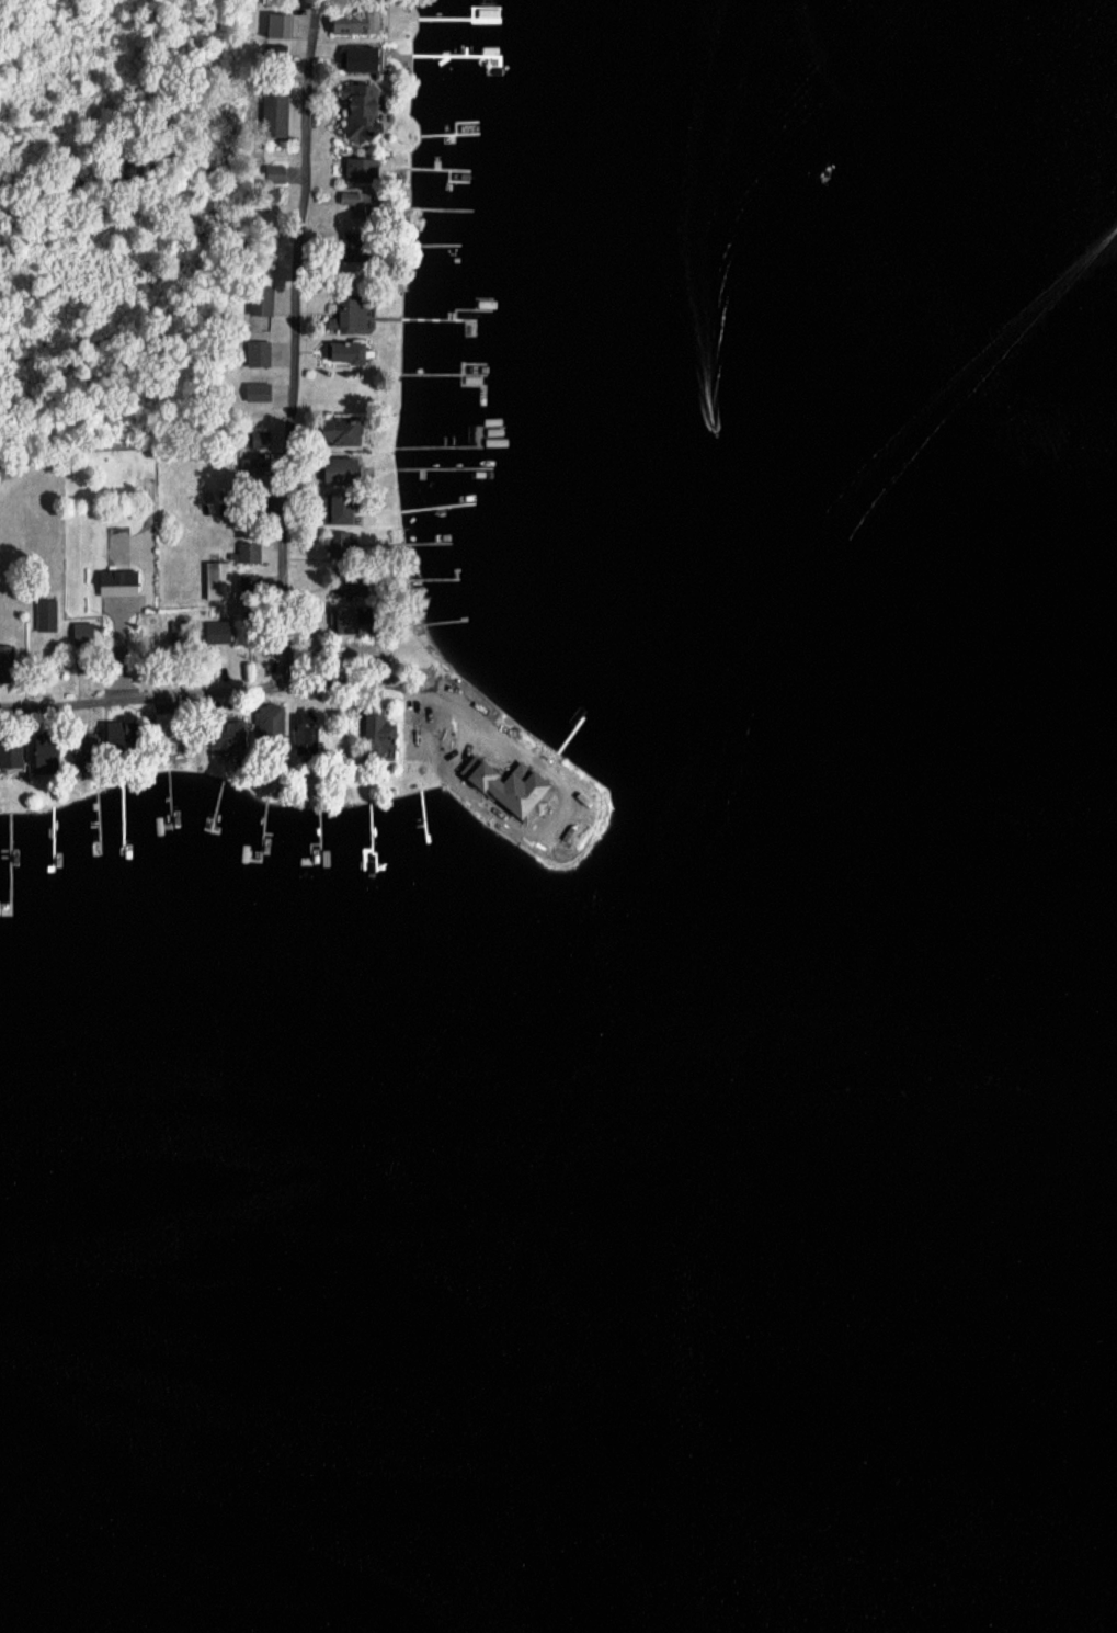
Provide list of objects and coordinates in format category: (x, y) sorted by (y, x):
building: (353, 19)
building: (275, 23)
building: (355, 57)
building: (356, 109)
building: (273, 111)
building: (356, 168)
building: (355, 202)
building: (259, 298)
building: (346, 315)
building: (343, 350)
building: (258, 351)
building: (255, 389)
building: (340, 430)
building: (337, 467)
road: (276, 485)
building: (334, 507)
building: (342, 540)
building: (216, 578)
building: (250, 580)
building: (116, 581)
building: (350, 583)
building: (341, 619)
building: (216, 631)
building: (81, 632)
building: (5, 655)
building: (456, 717)
building: (272, 724)
building: (375, 728)
building: (218, 733)
building: (417, 733)
building: (299, 734)
building: (9, 750)
building: (78, 751)
building: (41, 756)

